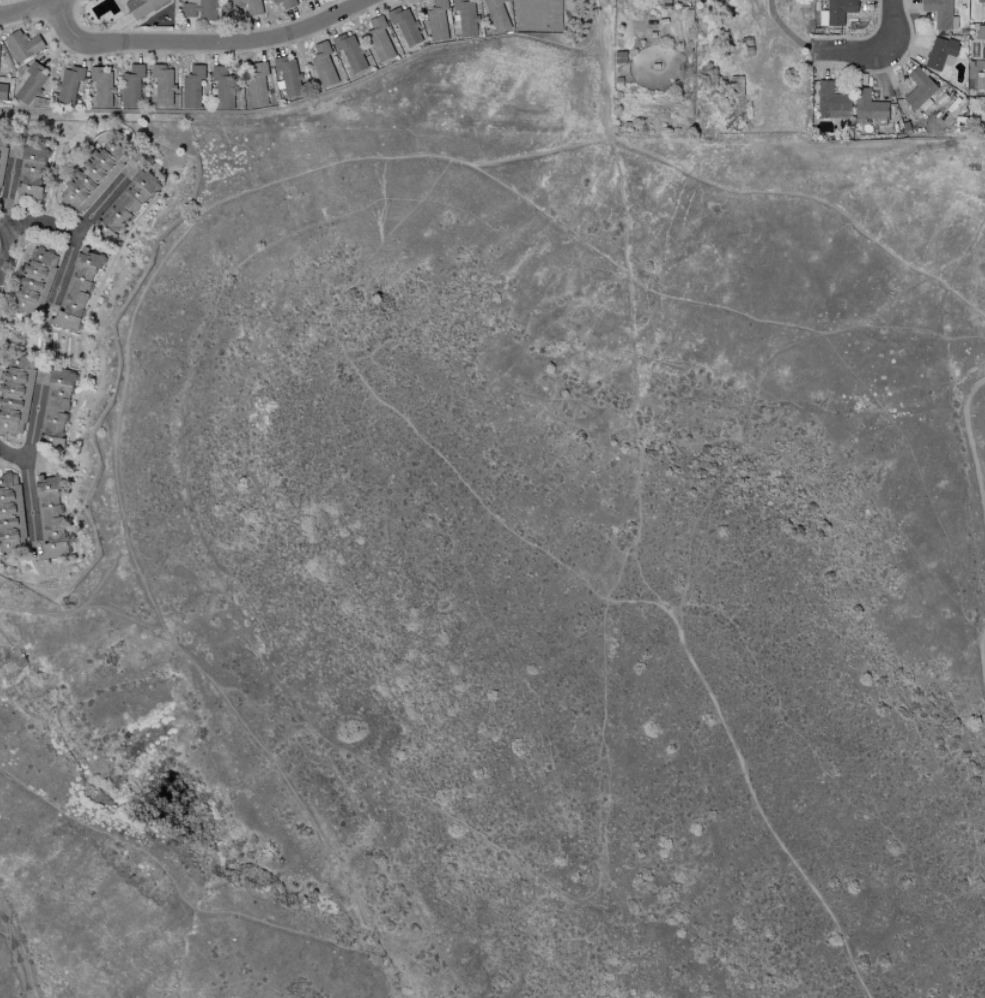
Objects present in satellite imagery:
building: (301, 0)
building: (284, 3)
building: (664, 3)
building: (246, 6)
building: (140, 7)
building: (199, 9)
road: (30, 10)
building: (981, 10)
building: (836, 12)
building: (940, 13)
building: (495, 14)
building: (464, 17)
building: (436, 20)
building: (404, 25)
road: (893, 27)
road: (786, 31)
building: (981, 37)
building: (378, 40)
road: (202, 43)
building: (21, 45)
building: (349, 51)
road: (851, 51)
building: (940, 53)
building: (322, 64)
building: (287, 76)
building: (980, 79)
building: (29, 84)
building: (68, 84)
building: (161, 85)
building: (130, 86)
building: (255, 86)
building: (101, 87)
building: (191, 87)
building: (222, 87)
building: (918, 89)
building: (2, 91)
building: (830, 101)
building: (868, 105)
building: (984, 118)
building: (2, 150)
building: (29, 171)
building: (91, 177)
road: (743, 188)
road: (8, 193)
building: (124, 204)
road: (22, 223)
road: (5, 225)
road: (76, 234)
building: (34, 281)
building: (75, 290)
road: (709, 306)
building: (15, 393)
building: (53, 409)
road: (34, 423)
road: (972, 445)
road: (732, 454)
road: (27, 484)
road: (119, 495)
building: (11, 515)
building: (49, 518)
road: (637, 600)
road: (85, 608)
road: (492, 623)
road: (983, 653)
road: (603, 674)
road: (757, 809)
road: (16, 953)

